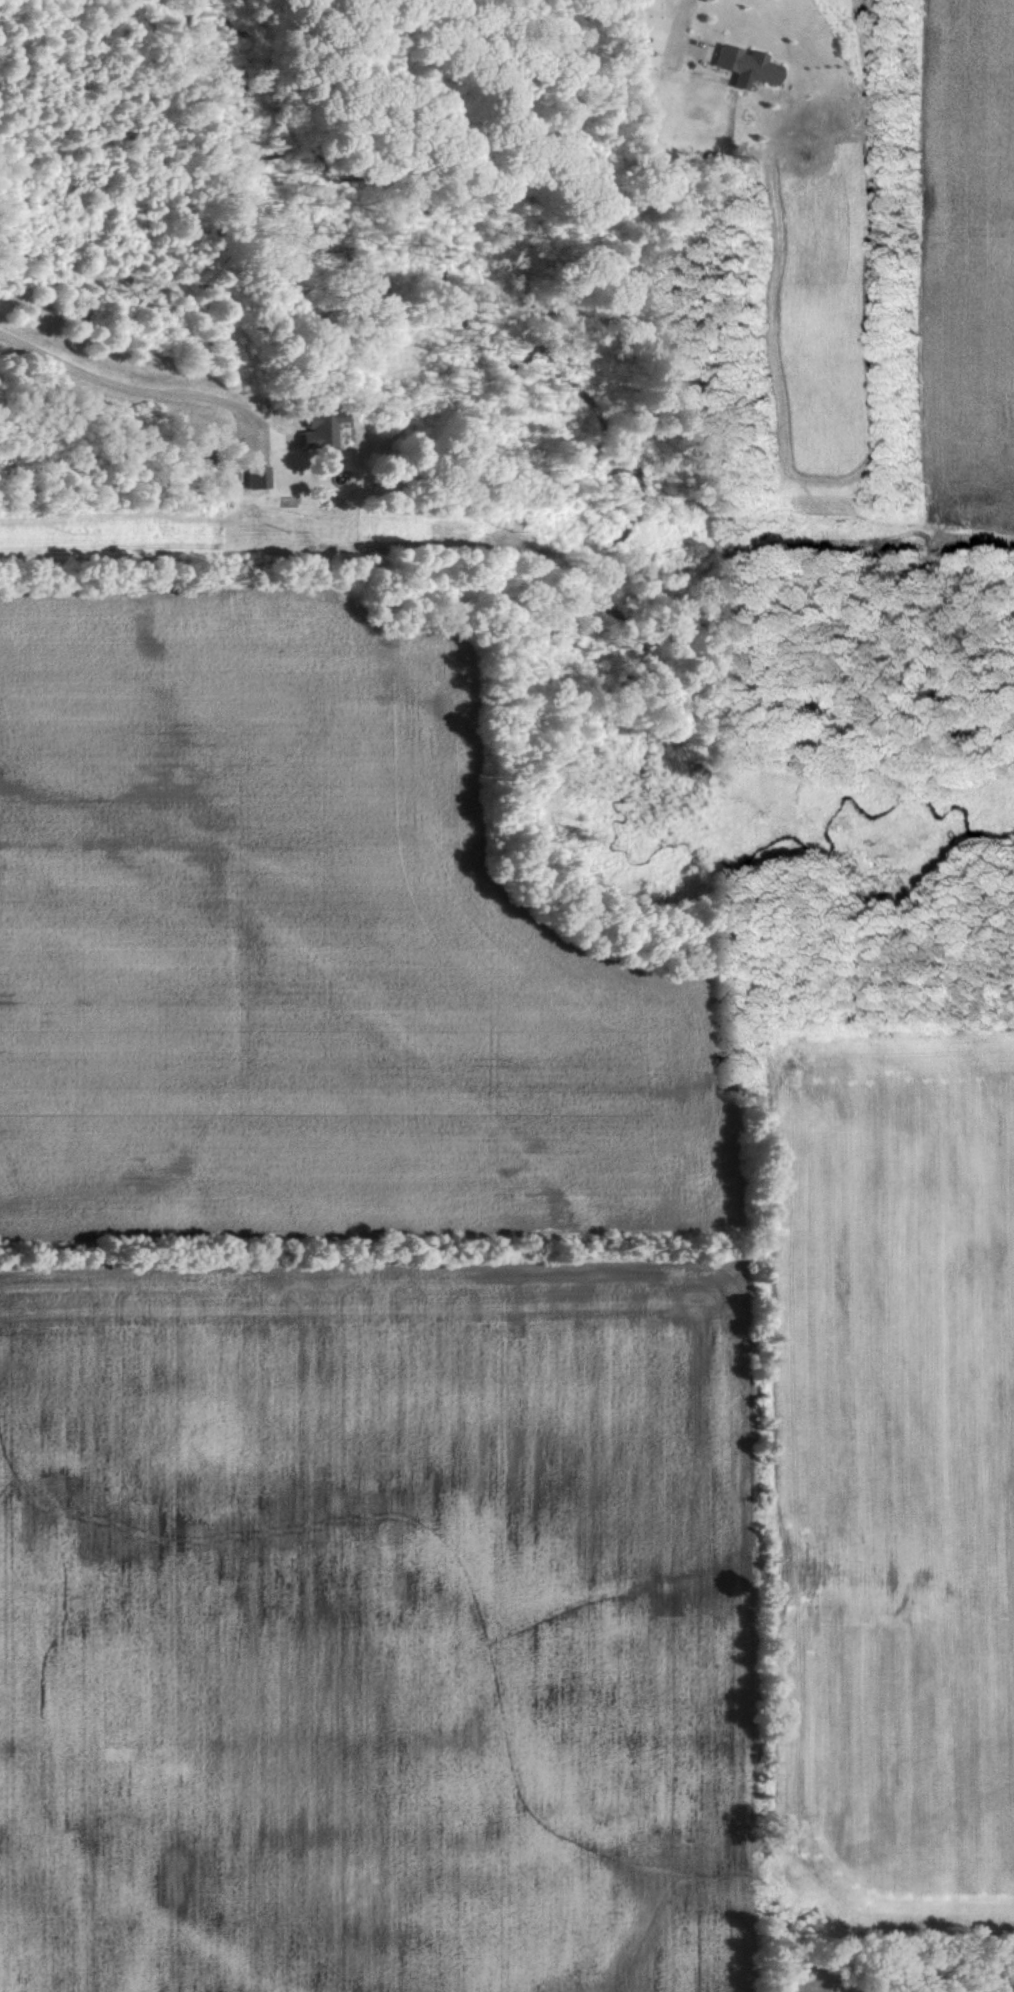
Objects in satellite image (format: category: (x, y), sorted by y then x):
road: (678, 25)
building: (741, 65)
road: (133, 385)
building: (315, 429)
building: (254, 477)

